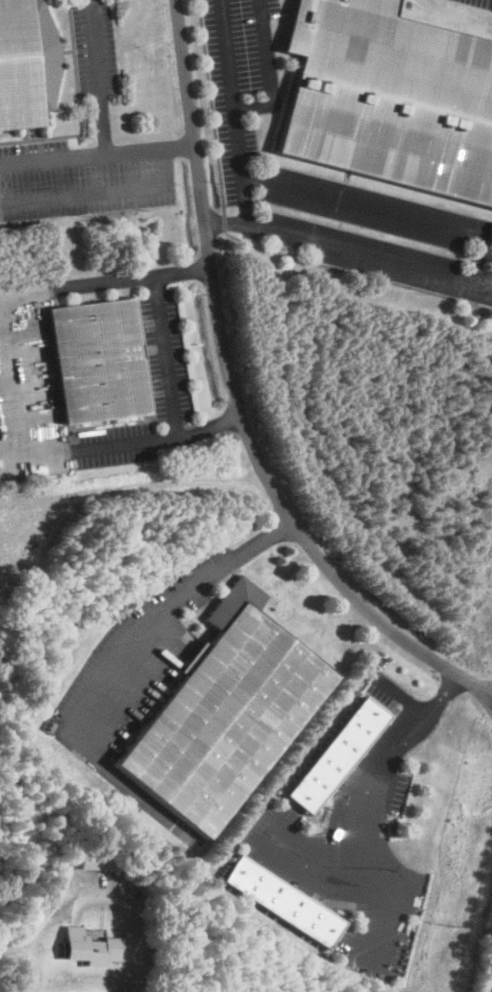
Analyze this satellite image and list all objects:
building: (26, 64)
road: (269, 71)
road: (98, 75)
building: (387, 99)
road: (233, 111)
road: (180, 145)
road: (83, 152)
road: (104, 192)
road: (385, 211)
road: (349, 249)
road: (182, 271)
road: (165, 355)
building: (95, 361)
road: (20, 378)
road: (232, 399)
road: (207, 425)
road: (166, 612)
building: (226, 712)
building: (336, 754)
road: (384, 758)
building: (282, 900)
road: (143, 931)
building: (90, 945)
power tower: (446, 956)

